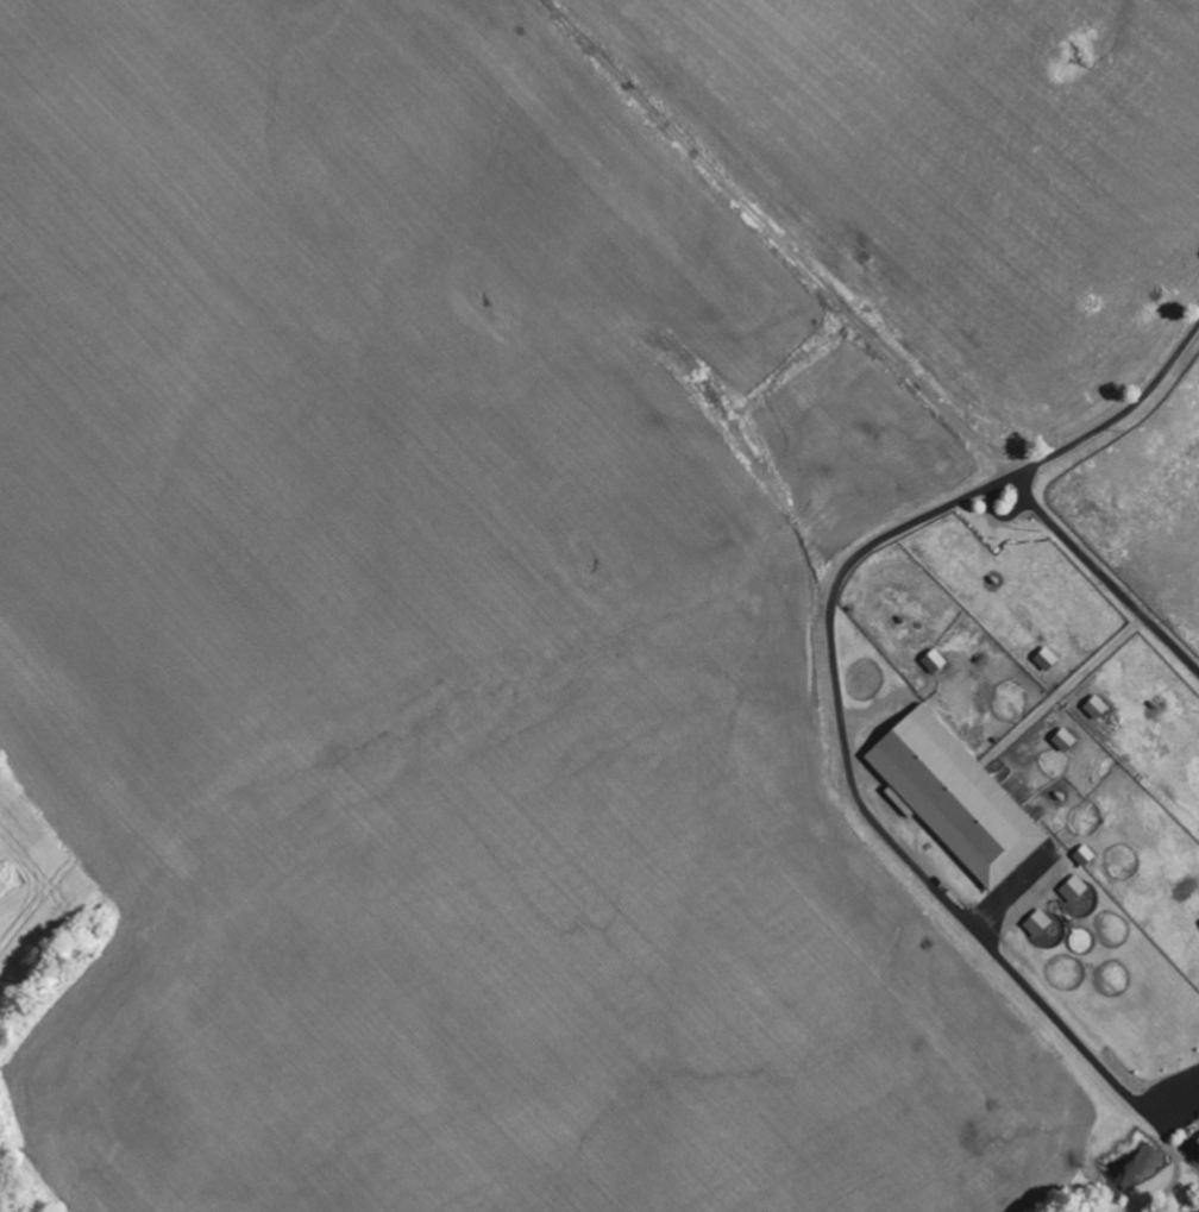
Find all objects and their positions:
road: (1107, 433)
building: (1046, 659)
building: (934, 661)
building: (1065, 740)
building: (955, 796)
building: (1084, 855)
building: (1074, 888)
building: (1038, 923)
building: (1198, 1141)

